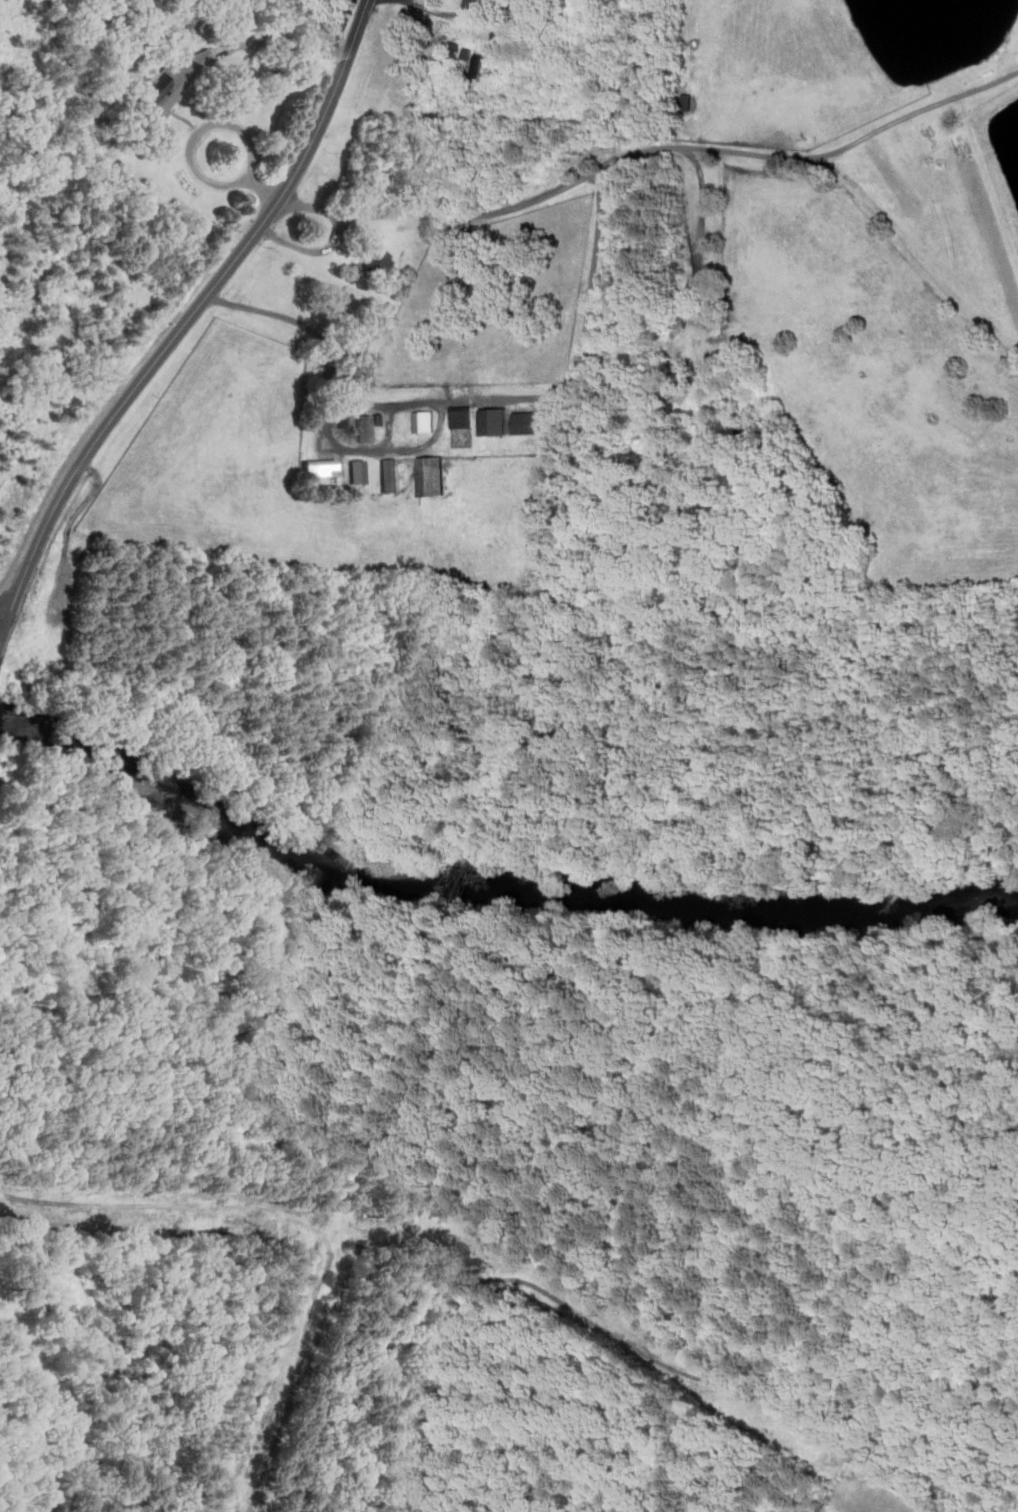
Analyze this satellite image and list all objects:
building: (474, 3)
building: (476, 64)
building: (174, 80)
road: (911, 114)
road: (215, 124)
road: (606, 165)
building: (374, 263)
road: (190, 316)
building: (696, 366)
road: (478, 399)
building: (461, 416)
building: (423, 421)
building: (493, 421)
building: (527, 423)
building: (368, 425)
road: (330, 433)
building: (321, 467)
building: (358, 471)
building: (389, 474)
building: (431, 475)
road: (2, 626)
road: (2, 632)
river: (496, 883)
road: (486, 1141)
road: (306, 1223)
road: (643, 1351)

